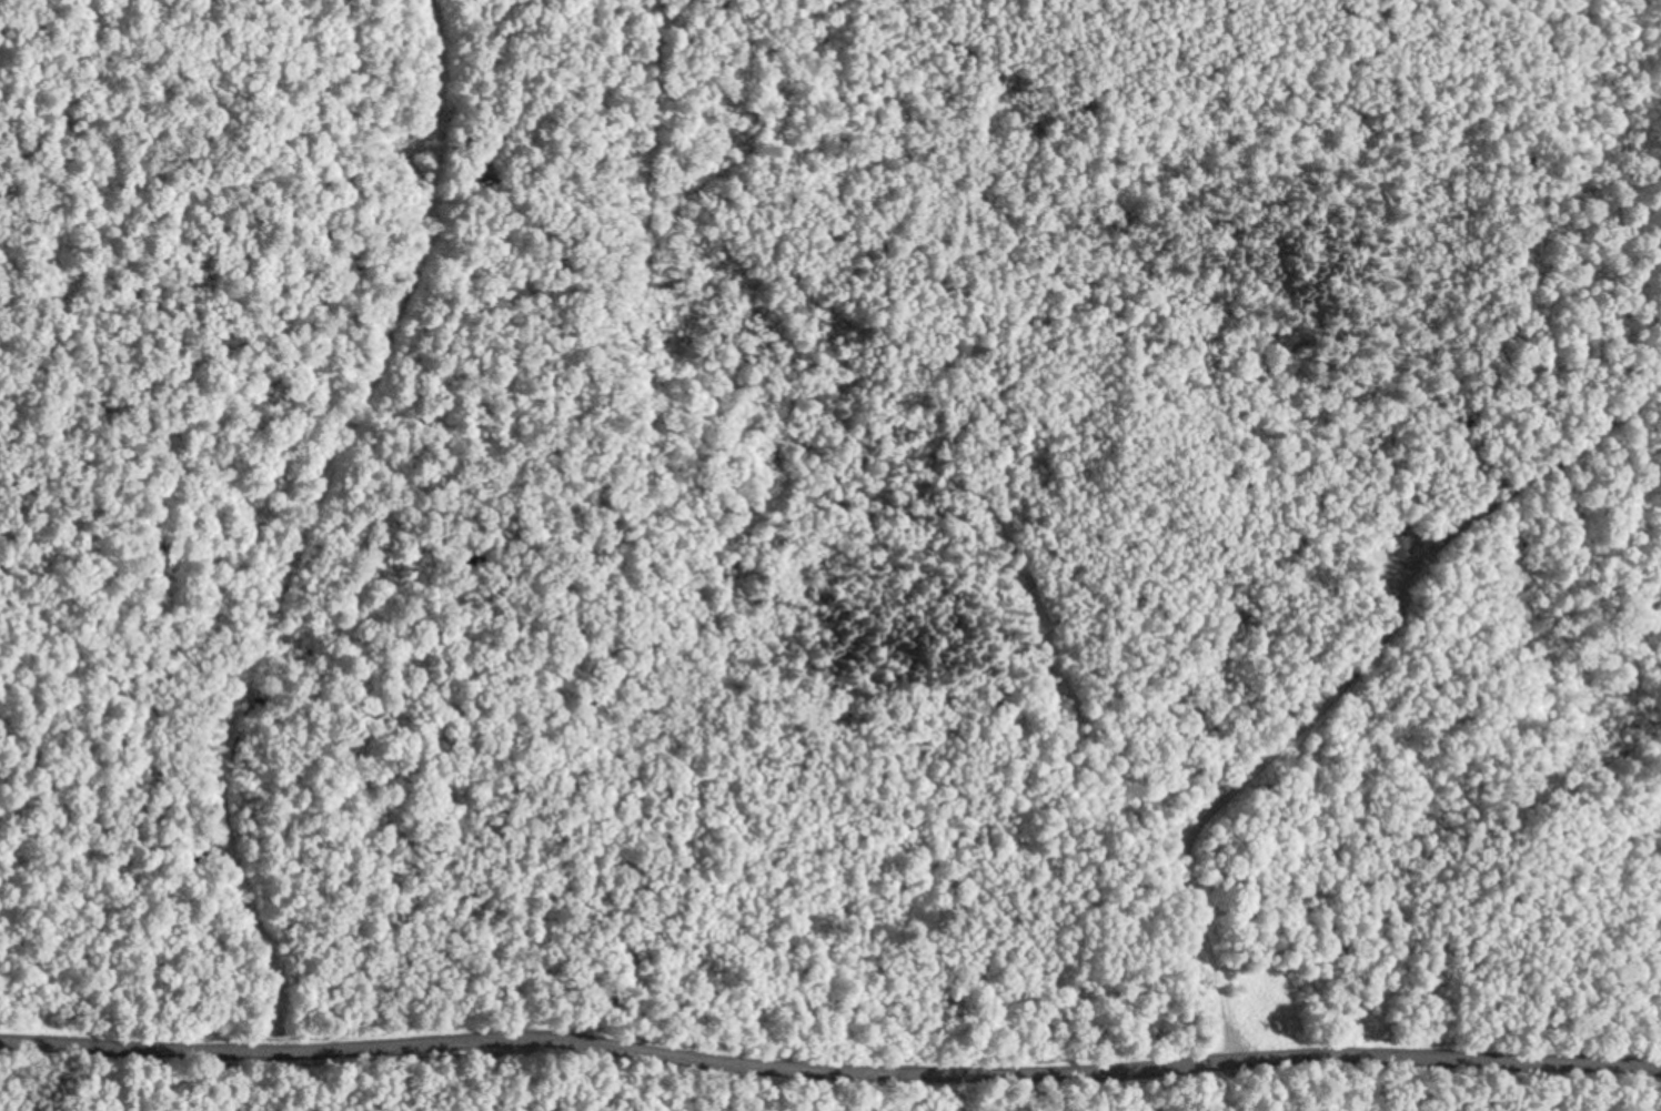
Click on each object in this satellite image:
building: (1401, 542)
road: (829, 1074)

